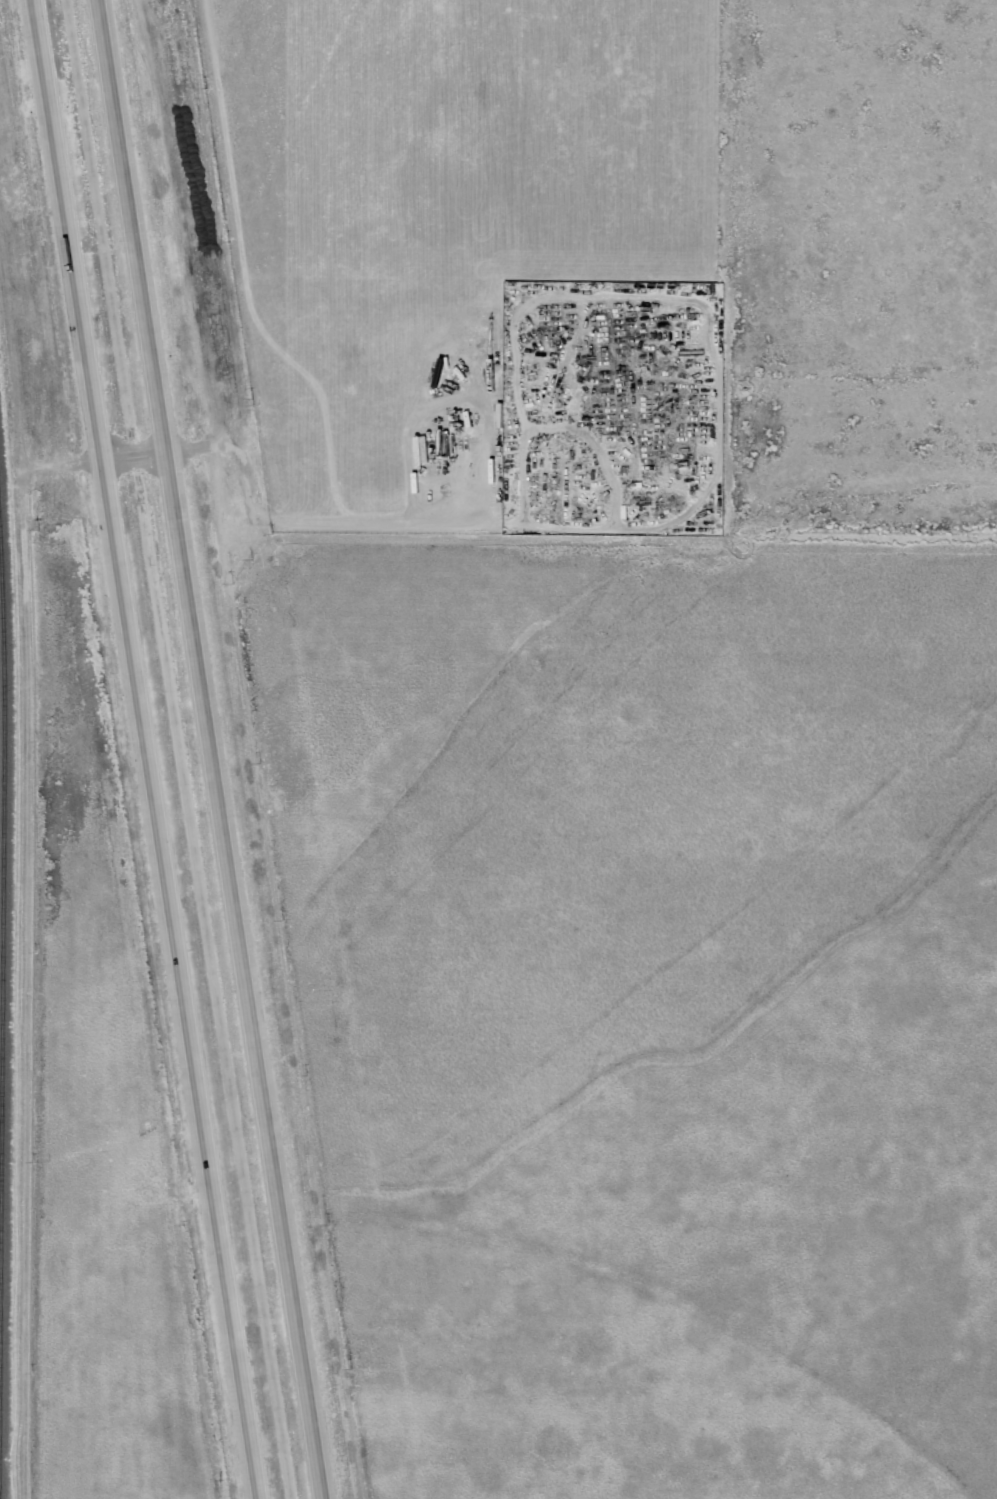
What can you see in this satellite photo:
road: (127, 225)
road: (66, 229)
road: (231, 448)
road: (131, 454)
road: (376, 519)
railway: (2, 888)
road: (239, 974)
road: (178, 978)

